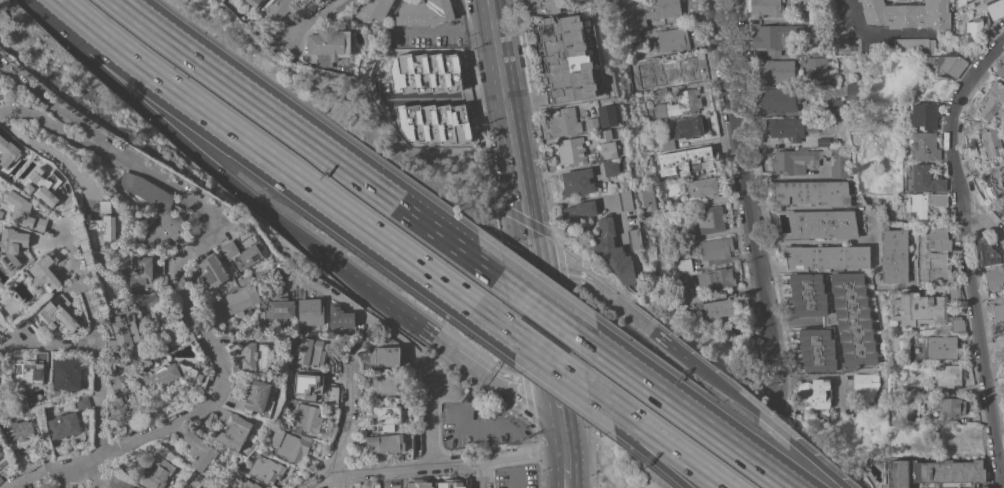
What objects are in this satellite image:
building: (609, 0)
building: (317, 1)
building: (256, 2)
building: (965, 2)
building: (539, 7)
building: (764, 8)
building: (995, 9)
building: (373, 10)
building: (277, 11)
building: (424, 12)
building: (653, 13)
building: (907, 14)
building: (814, 15)
road: (318, 18)
road: (154, 25)
road: (160, 25)
road: (443, 27)
building: (972, 27)
road: (877, 32)
building: (633, 35)
building: (774, 37)
building: (673, 38)
building: (328, 44)
building: (913, 45)
building: (569, 58)
building: (946, 64)
building: (678, 67)
building: (817, 70)
building: (1000, 70)
building: (776, 71)
building: (424, 72)
building: (648, 88)
building: (850, 91)
building: (659, 94)
building: (642, 96)
road: (443, 97)
building: (992, 98)
building: (837, 99)
building: (778, 100)
building: (680, 104)
road: (58, 106)
road: (505, 106)
building: (836, 108)
building: (607, 114)
building: (925, 115)
building: (564, 122)
building: (433, 123)
building: (592, 124)
building: (790, 127)
building: (684, 129)
road: (171, 130)
building: (607, 134)
building: (823, 141)
building: (835, 141)
building: (990, 141)
building: (924, 147)
road: (106, 149)
building: (609, 149)
building: (9, 151)
building: (572, 151)
road: (48, 152)
building: (685, 160)
building: (795, 160)
building: (840, 163)
road: (343, 166)
building: (611, 168)
road: (283, 169)
building: (924, 179)
building: (578, 181)
building: (989, 181)
building: (45, 185)
building: (674, 187)
building: (703, 187)
building: (147, 189)
building: (812, 192)
road: (589, 198)
building: (646, 198)
building: (625, 199)
building: (924, 204)
building: (106, 206)
road: (750, 207)
building: (1003, 208)
building: (579, 211)
building: (27, 212)
building: (710, 219)
road: (233, 221)
building: (822, 223)
building: (103, 225)
road: (984, 227)
building: (168, 230)
building: (634, 239)
road: (813, 241)
road: (528, 242)
building: (13, 245)
building: (715, 248)
building: (244, 250)
building: (614, 251)
building: (938, 253)
building: (989, 254)
building: (893, 255)
building: (826, 256)
road: (967, 256)
building: (158, 262)
building: (683, 265)
traffic signals: (533, 272)
road: (563, 272)
building: (47, 273)
building: (142, 274)
building: (209, 274)
road: (351, 275)
building: (717, 277)
building: (994, 278)
road: (86, 291)
building: (954, 292)
building: (807, 294)
building: (690, 296)
building: (242, 298)
road: (539, 304)
building: (719, 309)
building: (280, 310)
building: (309, 311)
building: (923, 311)
building: (997, 312)
building: (60, 314)
building: (853, 320)
building: (166, 324)
road: (644, 325)
building: (124, 332)
road: (543, 336)
road: (434, 339)
building: (732, 339)
building: (236, 340)
road: (42, 343)
road: (397, 343)
building: (941, 346)
building: (817, 349)
building: (311, 351)
building: (255, 355)
building: (386, 356)
road: (548, 360)
building: (34, 370)
road: (549, 370)
road: (224, 371)
building: (68, 373)
building: (112, 373)
building: (169, 375)
building: (948, 376)
building: (124, 377)
building: (116, 384)
building: (308, 384)
building: (385, 385)
building: (866, 386)
building: (812, 393)
building: (56, 394)
road: (98, 397)
road: (520, 397)
building: (256, 398)
building: (82, 402)
building: (936, 404)
building: (952, 406)
building: (125, 408)
road: (683, 408)
road: (554, 409)
building: (387, 415)
building: (308, 417)
building: (64, 425)
road: (490, 426)
road: (772, 426)
building: (232, 428)
building: (21, 433)
road: (343, 433)
road: (560, 433)
road: (655, 437)
building: (391, 444)
building: (291, 446)
road: (636, 447)
building: (200, 451)
road: (547, 451)
building: (1, 453)
road: (504, 456)
road: (565, 462)
road: (404, 467)
building: (266, 469)
building: (934, 472)
road: (36, 473)
building: (157, 473)
road: (480, 474)
road: (97, 477)
building: (1, 479)
road: (68, 480)
road: (565, 481)
building: (249, 484)
building: (449, 484)
building: (983, 487)

